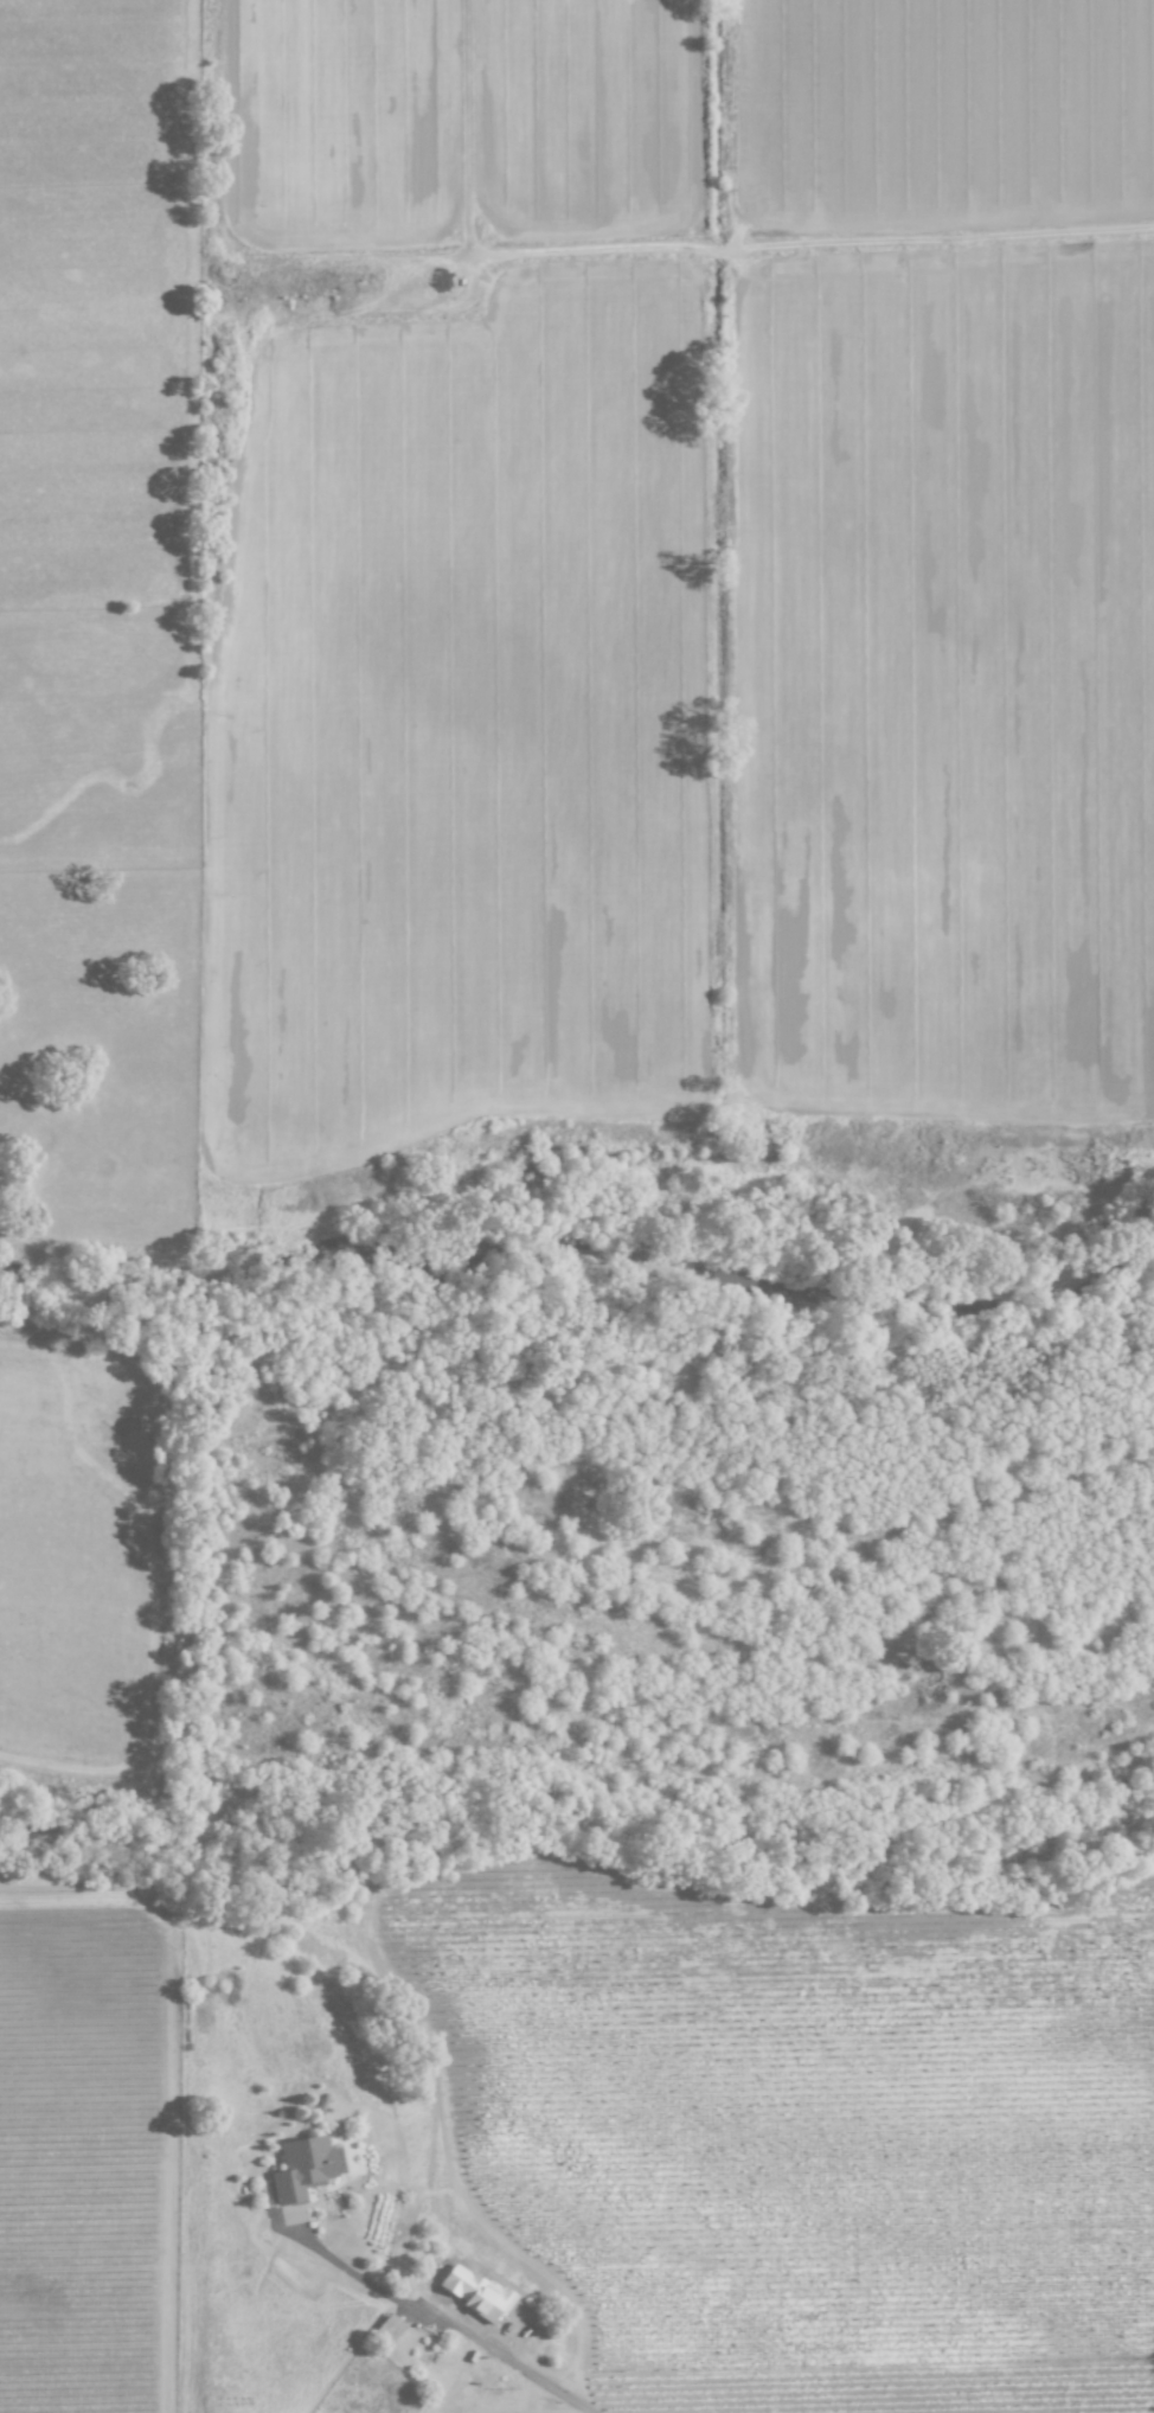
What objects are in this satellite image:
building: (301, 2169)
building: (469, 2302)
road: (450, 2323)
building: (505, 2326)
building: (387, 2329)

